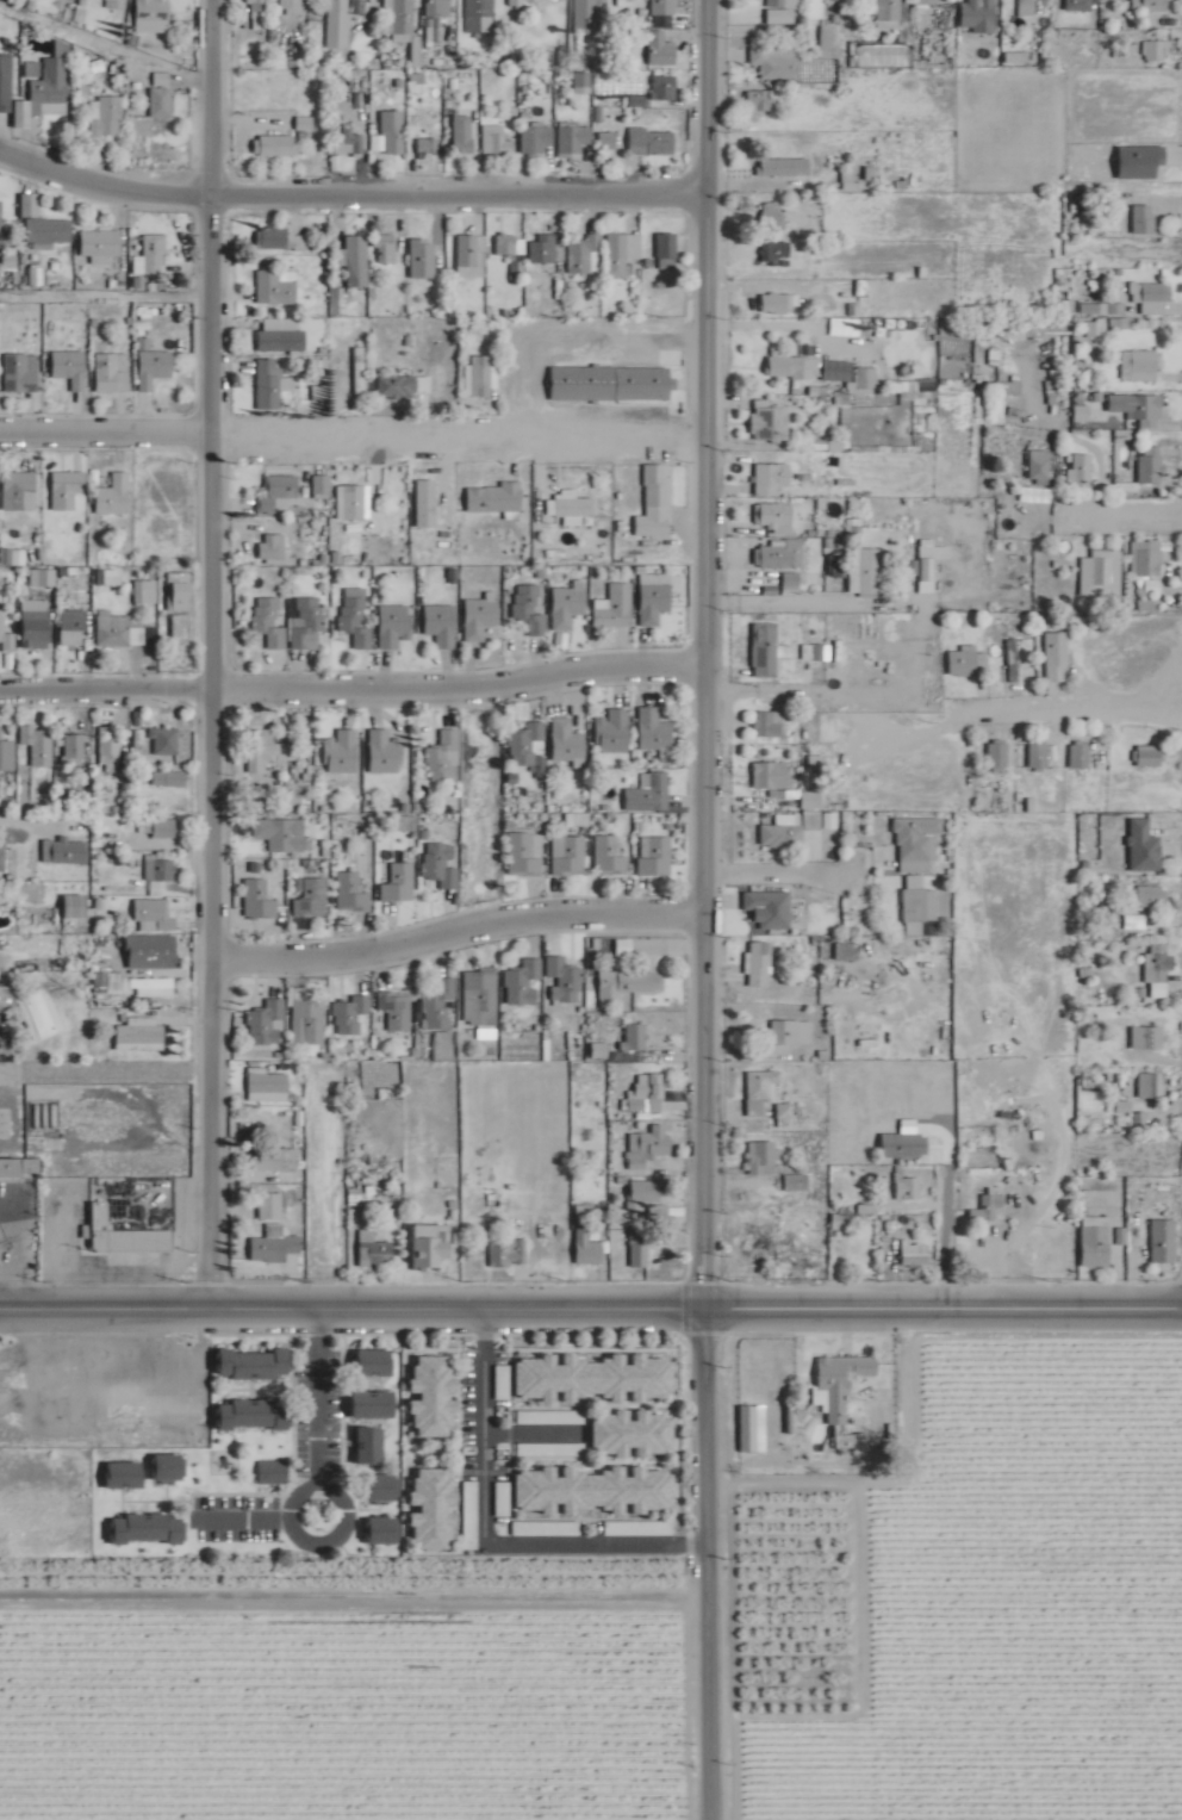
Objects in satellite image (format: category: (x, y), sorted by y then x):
building: (627, 0)
building: (530, 2)
building: (927, 2)
building: (1027, 2)
building: (783, 4)
building: (108, 5)
building: (1149, 5)
building: (664, 7)
building: (256, 8)
building: (340, 8)
building: (438, 8)
building: (888, 14)
building: (153, 15)
building: (397, 15)
building: (480, 15)
building: (590, 17)
building: (661, 50)
building: (1157, 51)
building: (776, 62)
building: (584, 80)
building: (52, 88)
building: (664, 88)
building: (759, 100)
building: (162, 103)
building: (108, 118)
building: (392, 132)
building: (464, 135)
building: (537, 138)
building: (574, 139)
building: (497, 141)
building: (606, 141)
building: (348, 142)
building: (652, 142)
building: (428, 145)
building: (274, 147)
building: (784, 167)
building: (850, 180)
road: (348, 185)
building: (773, 215)
building: (1, 216)
building: (1144, 219)
building: (50, 230)
building: (281, 240)
building: (506, 244)
building: (101, 246)
building: (543, 248)
building: (385, 249)
building: (667, 250)
building: (776, 254)
building: (472, 255)
building: (585, 255)
building: (153, 256)
building: (617, 256)
building: (422, 257)
building: (356, 261)
building: (278, 287)
building: (1146, 292)
building: (780, 304)
road: (789, 324)
building: (1096, 328)
building: (1022, 333)
building: (281, 336)
building: (792, 364)
building: (1140, 366)
building: (154, 367)
building: (70, 368)
building: (360, 371)
building: (112, 372)
building: (21, 373)
building: (481, 377)
building: (643, 384)
building: (274, 386)
building: (405, 386)
building: (319, 393)
building: (1133, 409)
building: (769, 422)
road: (350, 426)
building: (1039, 466)
building: (1081, 467)
building: (1145, 471)
building: (771, 479)
building: (323, 485)
building: (20, 491)
building: (69, 491)
building: (276, 493)
building: (114, 496)
building: (494, 498)
building: (354, 503)
building: (655, 503)
building: (427, 504)
building: (573, 507)
road: (1118, 511)
building: (773, 517)
building: (273, 548)
building: (780, 554)
building: (1150, 559)
building: (1106, 569)
building: (869, 570)
building: (44, 578)
building: (180, 591)
building: (147, 592)
building: (654, 597)
road: (776, 601)
building: (567, 605)
building: (615, 608)
building: (530, 609)
building: (356, 617)
building: (479, 617)
building: (270, 621)
building: (307, 622)
building: (35, 623)
building: (440, 625)
building: (394, 626)
building: (180, 629)
building: (73, 632)
building: (119, 632)
building: (6, 633)
road: (207, 647)
road: (701, 648)
building: (765, 650)
building: (1057, 657)
building: (1012, 659)
building: (968, 663)
road: (350, 679)
road: (939, 708)
building: (767, 723)
building: (654, 731)
building: (612, 732)
building: (164, 740)
building: (566, 740)
building: (39, 744)
building: (527, 744)
building: (110, 747)
building: (75, 749)
building: (268, 750)
building: (7, 752)
building: (340, 752)
building: (385, 752)
building: (997, 754)
building: (1038, 754)
building: (1149, 754)
building: (444, 757)
building: (1080, 757)
building: (771, 775)
building: (169, 778)
building: (648, 793)
building: (810, 799)
building: (157, 828)
road: (30, 832)
building: (278, 833)
building: (780, 837)
building: (916, 844)
building: (525, 853)
building: (655, 856)
building: (571, 857)
building: (609, 857)
building: (8, 859)
building: (442, 865)
building: (162, 870)
road: (777, 870)
building: (400, 883)
building: (352, 894)
building: (1149, 896)
building: (312, 899)
building: (260, 900)
building: (920, 906)
building: (73, 907)
building: (154, 917)
road: (453, 919)
building: (149, 946)
building: (760, 964)
building: (1157, 977)
building: (565, 981)
building: (524, 982)
building: (150, 983)
building: (627, 983)
building: (481, 996)
building: (6, 998)
building: (440, 1004)
building: (397, 1010)
building: (41, 1014)
building: (352, 1014)
building: (309, 1021)
building: (268, 1024)
building: (139, 1033)
building: (790, 1035)
building: (636, 1037)
building: (1146, 1038)
building: (267, 1085)
building: (1151, 1085)
building: (761, 1089)
building: (647, 1093)
building: (786, 1110)
building: (654, 1142)
building: (903, 1144)
building: (763, 1155)
building: (275, 1159)
building: (20, 1167)
building: (797, 1181)
building: (908, 1187)
building: (377, 1191)
building: (645, 1192)
building: (270, 1206)
building: (988, 1207)
building: (126, 1235)
building: (760, 1240)
building: (1095, 1241)
building: (1164, 1241)
building: (427, 1246)
building: (274, 1247)
building: (373, 1248)
building: (586, 1248)
building: (510, 1251)
building: (915, 1251)
building: (639, 1253)
building: (798, 1256)
road: (590, 1298)
building: (371, 1364)
building: (249, 1365)
building: (591, 1378)
building: (14, 1380)
road: (325, 1392)
building: (430, 1396)
building: (839, 1402)
building: (369, 1404)
building: (127, 1409)
building: (250, 1415)
building: (753, 1429)
building: (629, 1434)
building: (367, 1446)
building: (164, 1467)
building: (273, 1473)
building: (122, 1476)
building: (379, 1487)
building: (591, 1490)
building: (430, 1509)
road: (251, 1515)
road: (490, 1524)
building: (143, 1529)
building: (379, 1532)
road: (338, 1534)
road: (704, 1558)
crop: (701, 1652)

